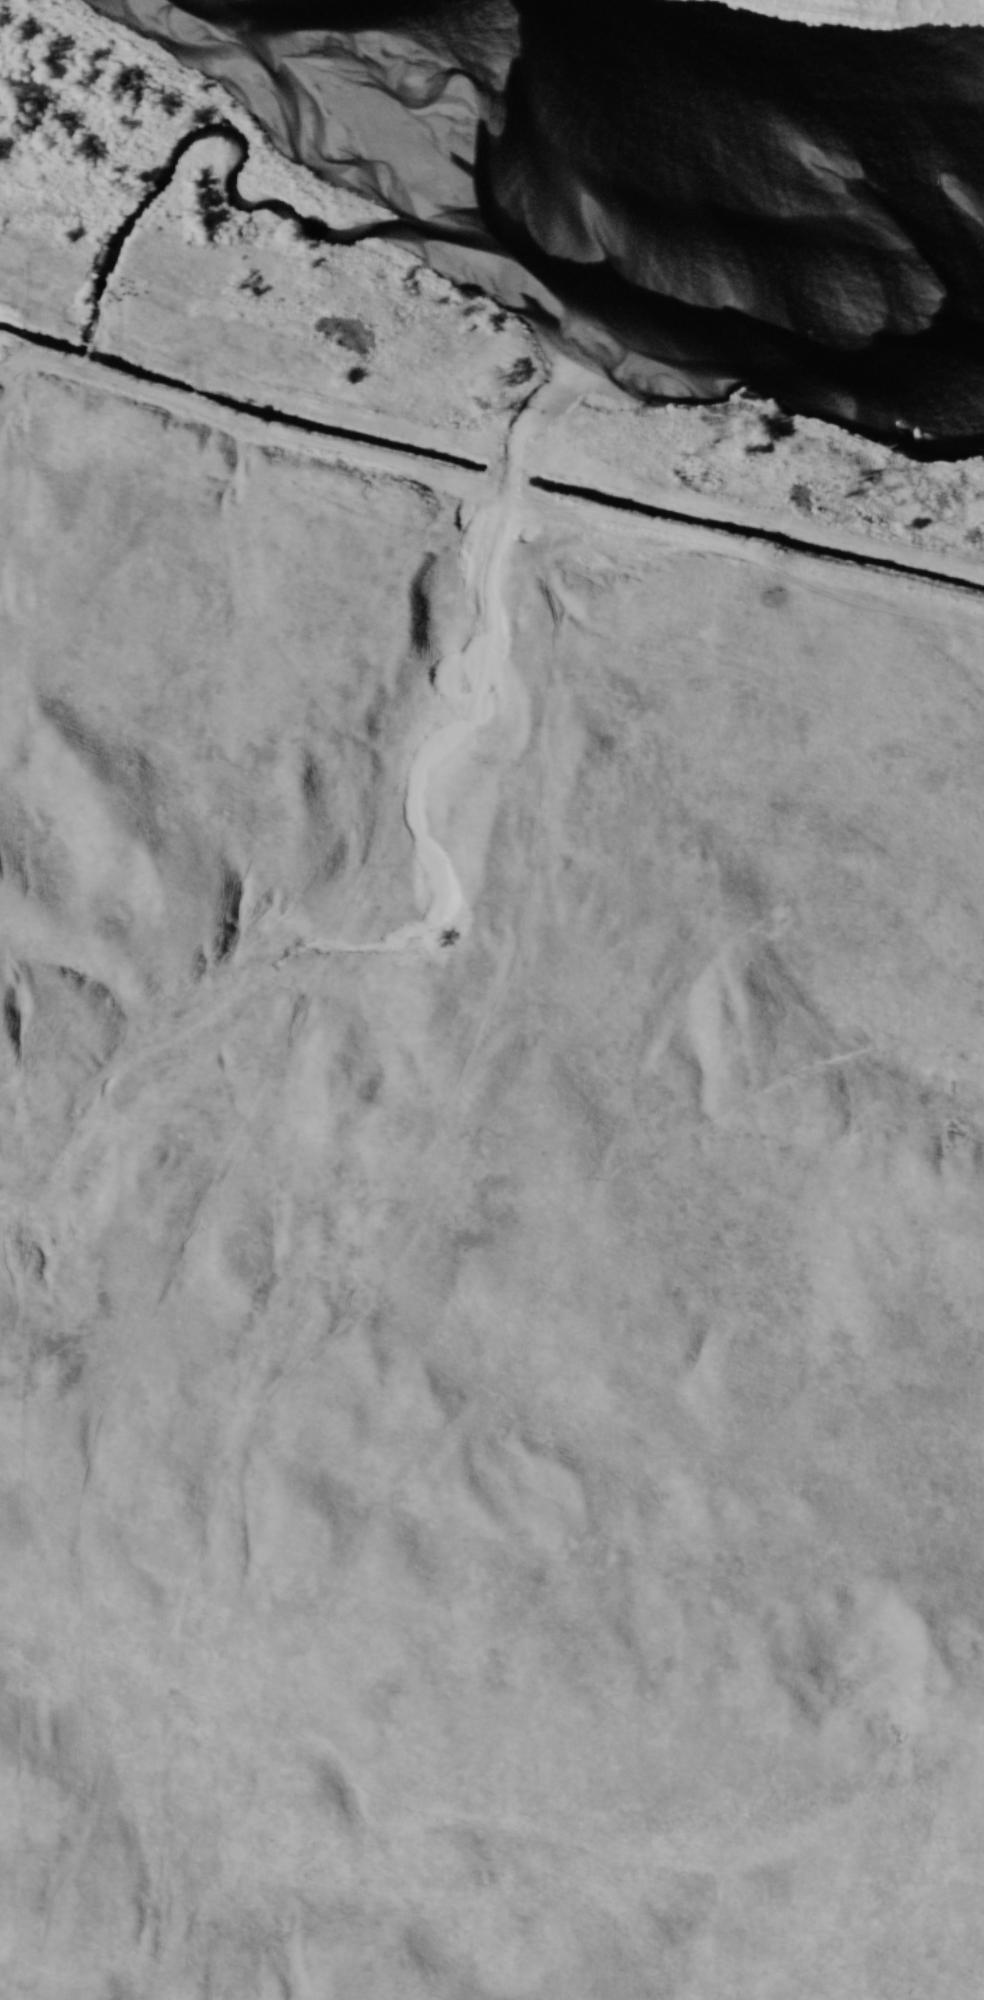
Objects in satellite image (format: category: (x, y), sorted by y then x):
river: (682, 160)

